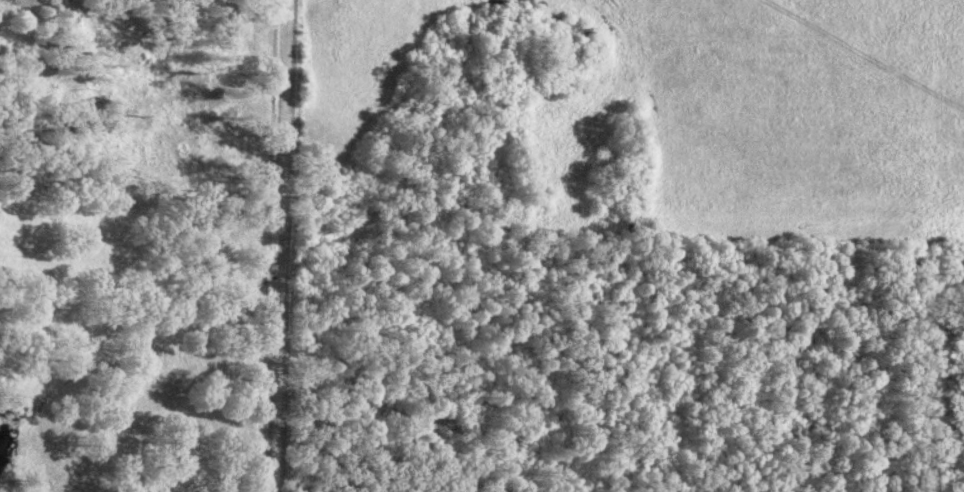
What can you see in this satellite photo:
road: (275, 246)

